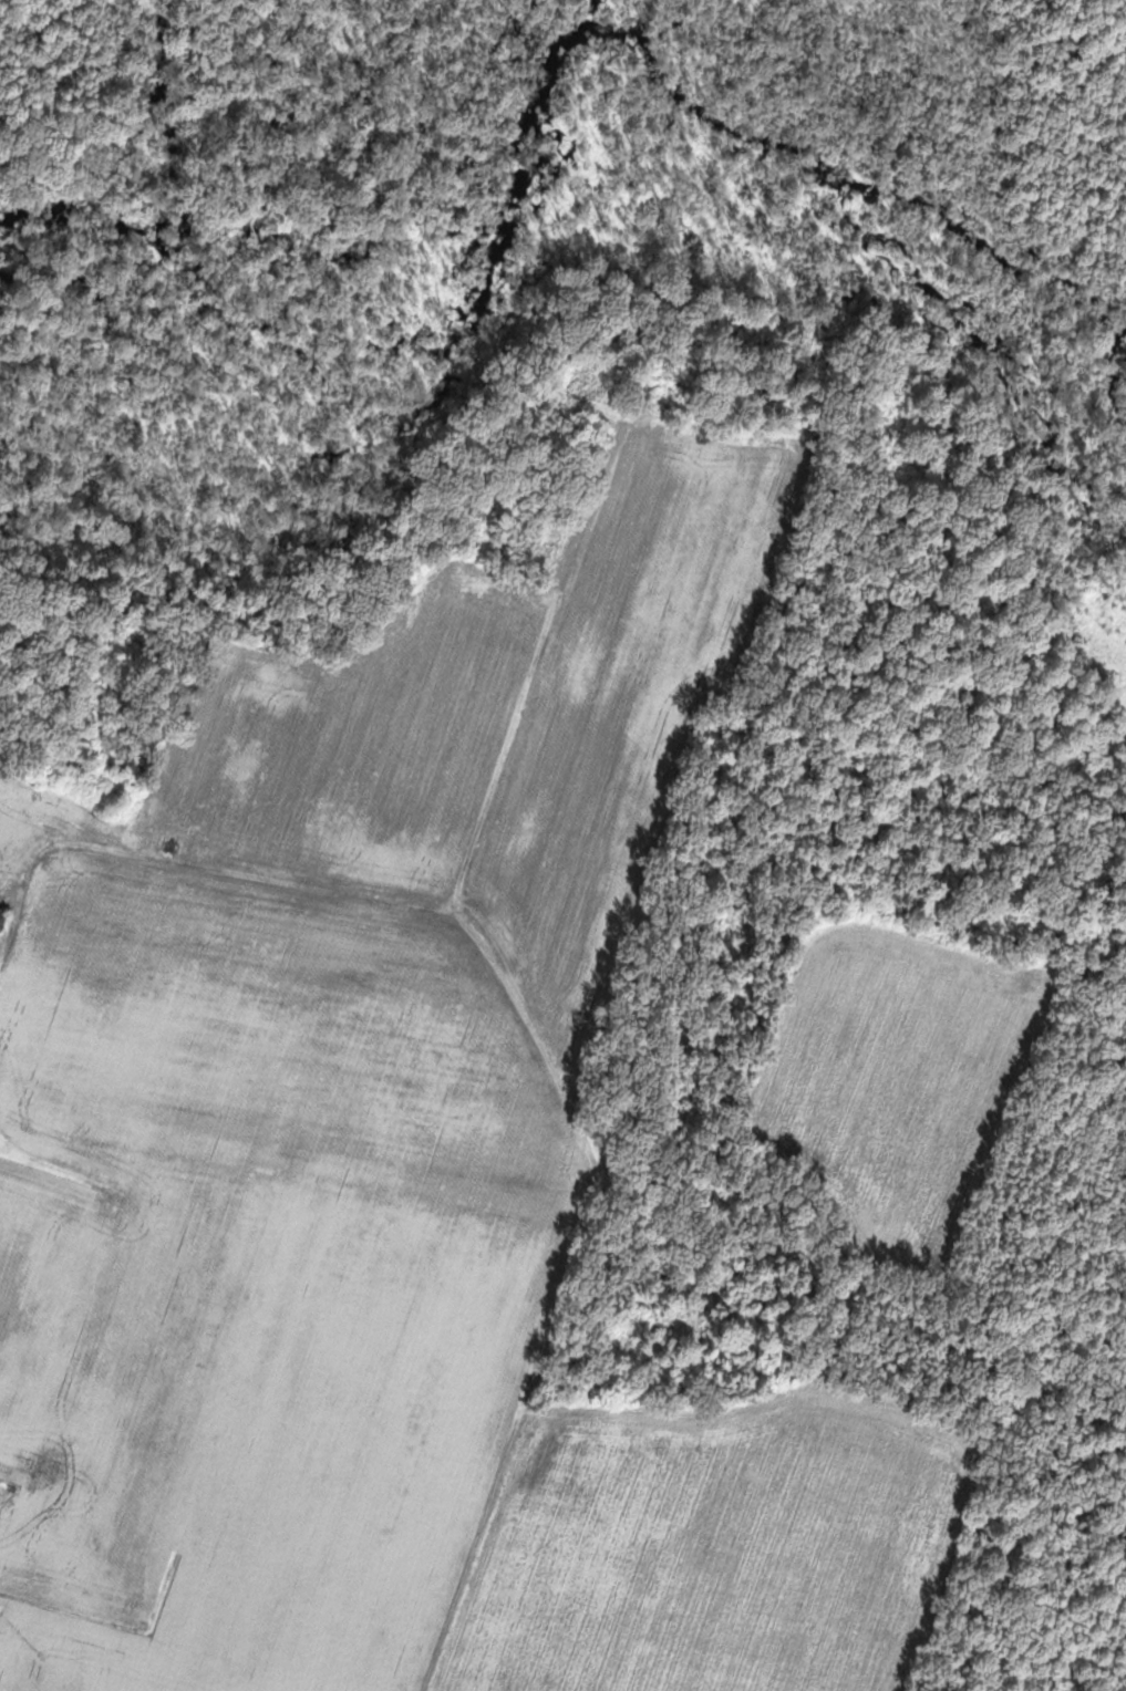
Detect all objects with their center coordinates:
building: (4, 922)

